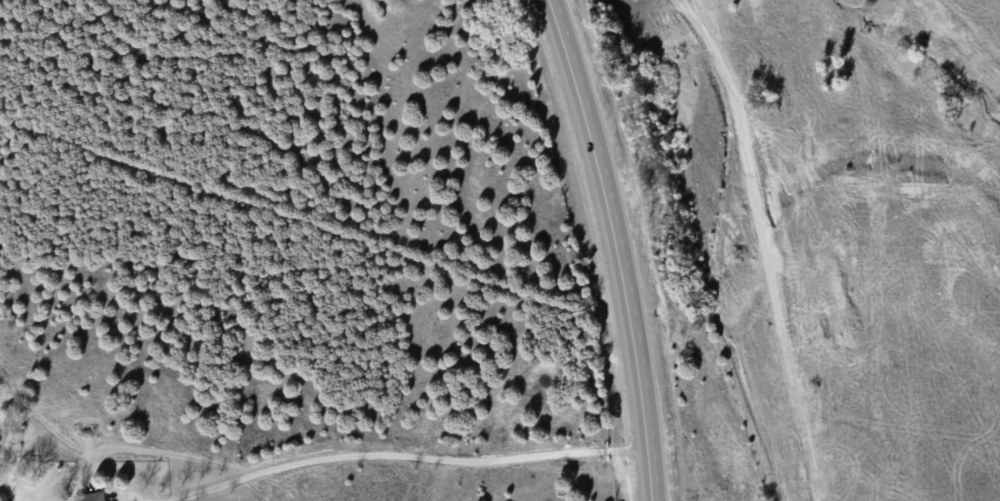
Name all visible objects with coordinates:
road: (759, 244)
road: (614, 246)
building: (92, 496)

